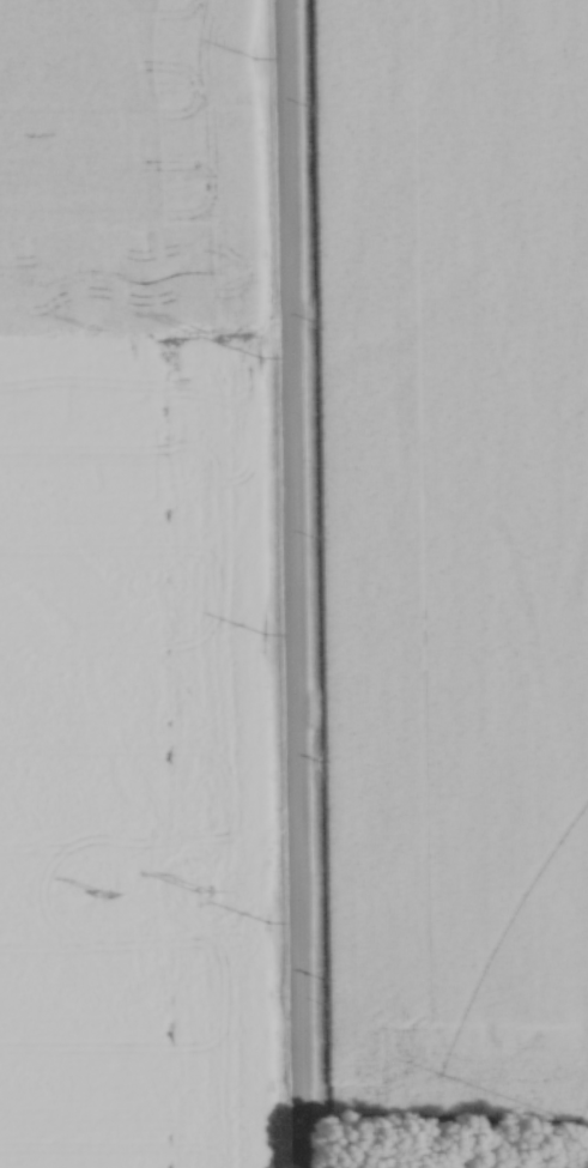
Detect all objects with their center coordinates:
power tower: (91, 328)
power tower: (193, 328)
road: (290, 583)
power tower: (195, 885)
power tower: (92, 888)

